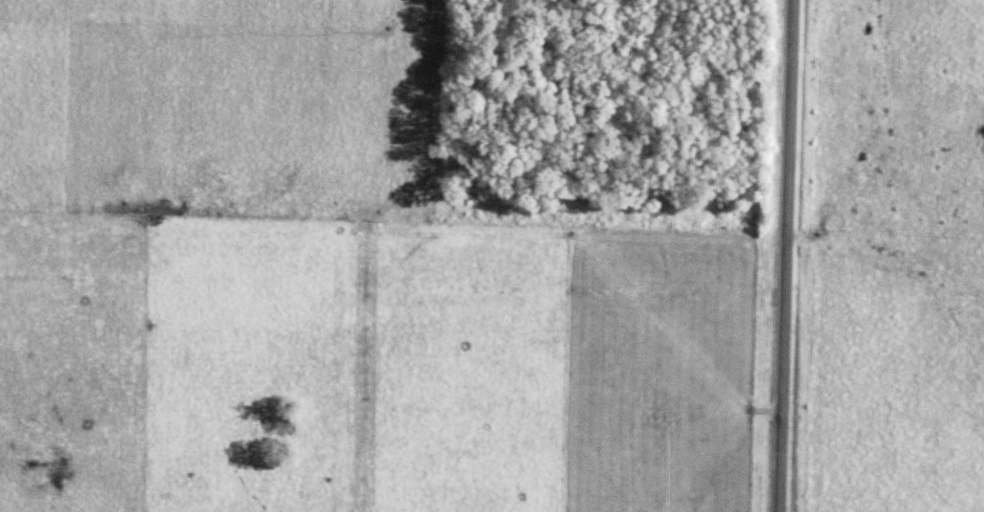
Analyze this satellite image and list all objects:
road: (783, 255)
road: (732, 370)

